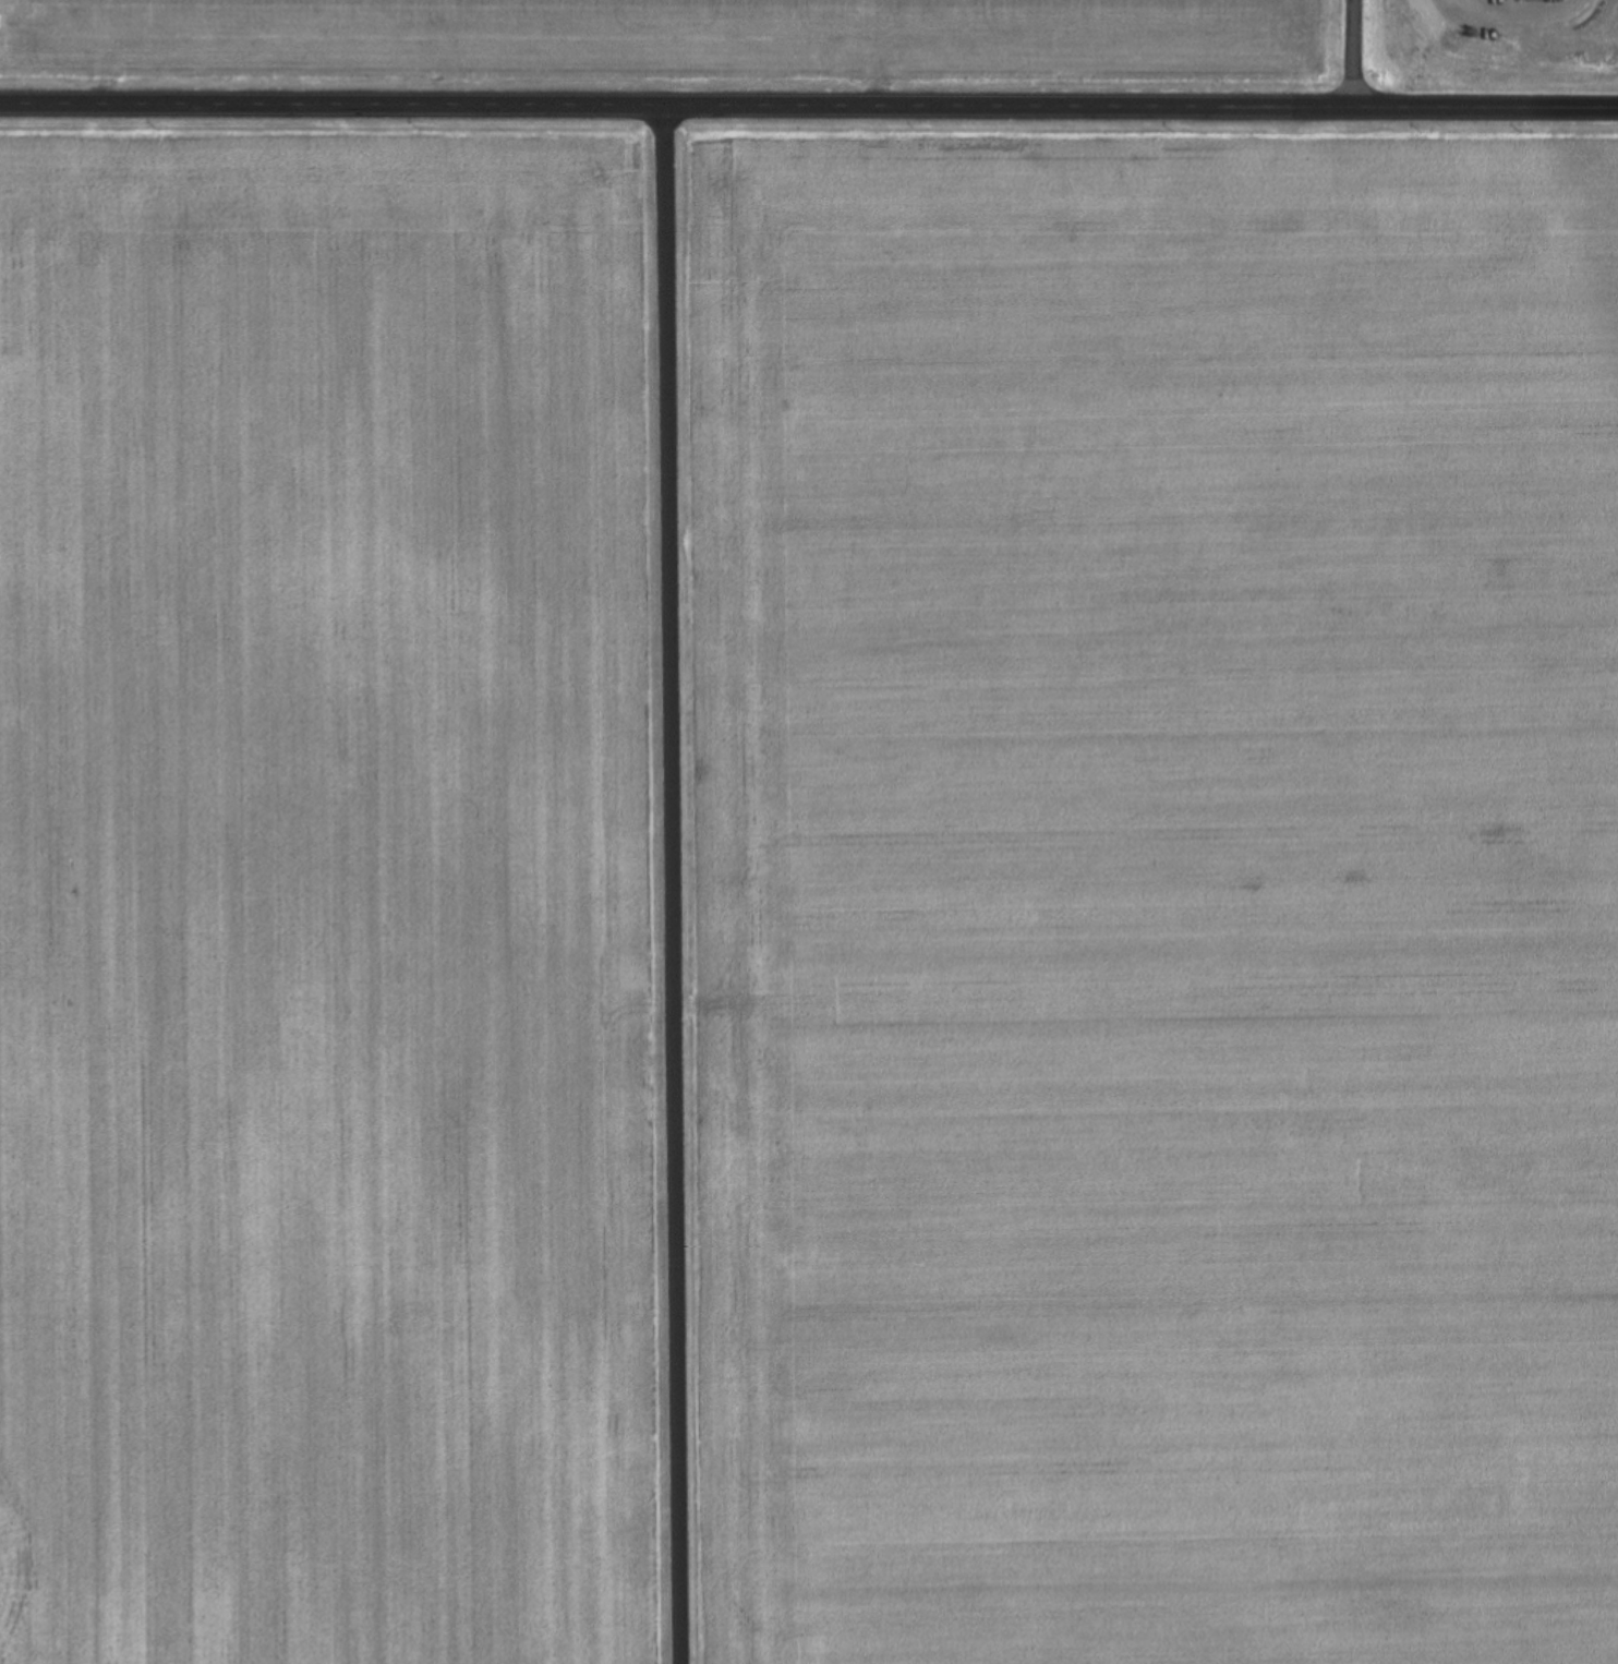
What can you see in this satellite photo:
road: (1355, 53)
road: (809, 104)
road: (674, 883)

